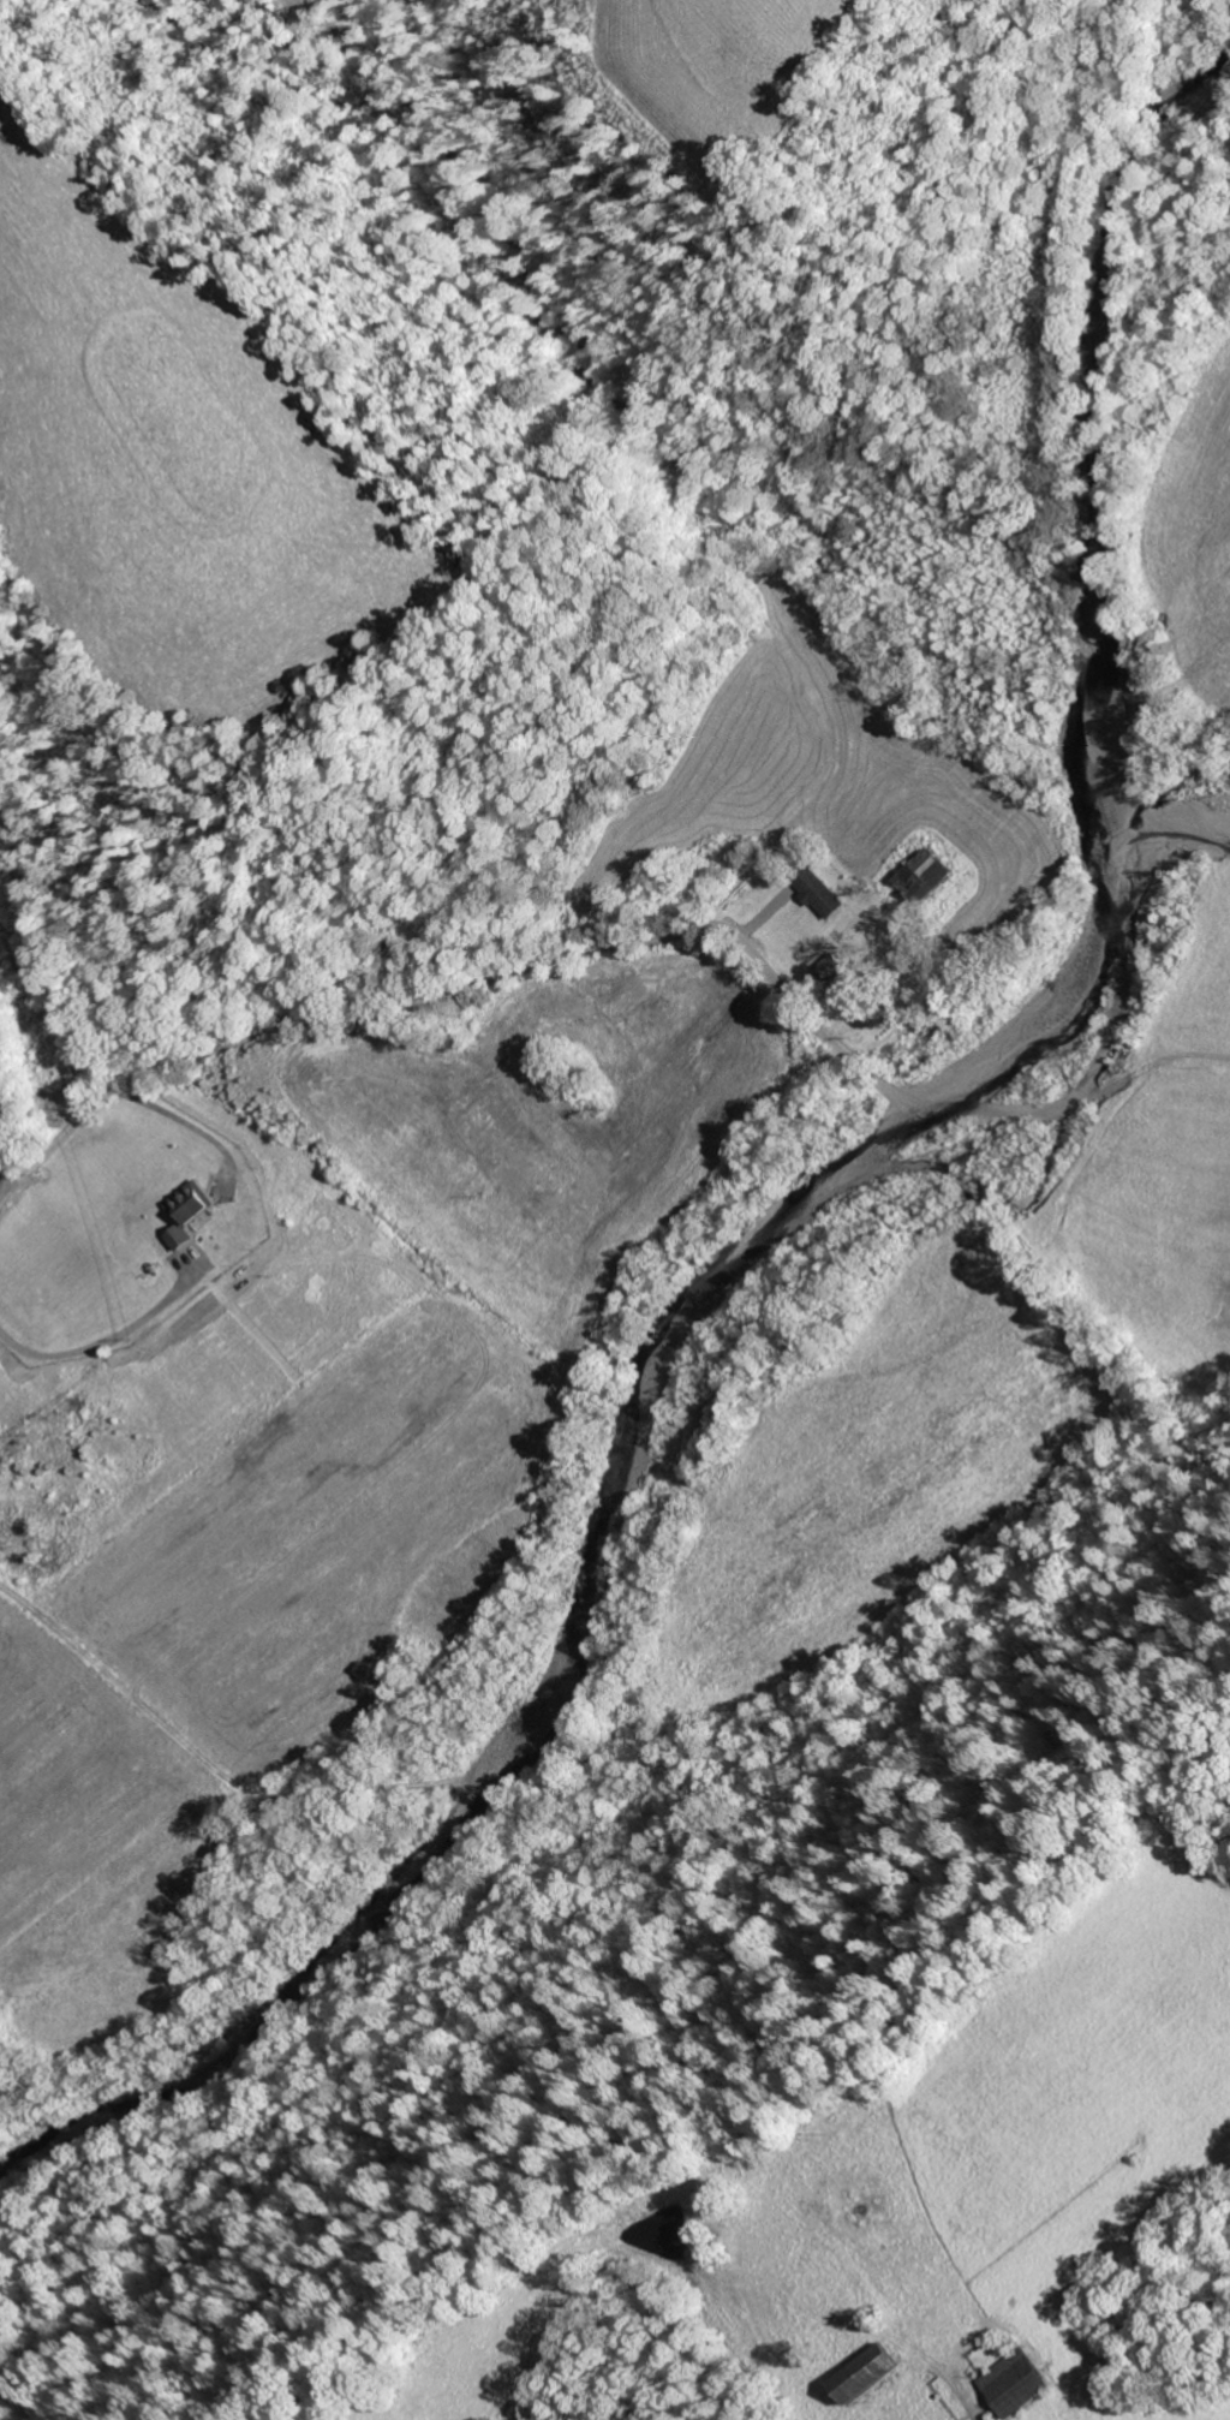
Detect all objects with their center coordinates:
road: (745, 429)
building: (922, 876)
building: (818, 894)
road: (448, 928)
building: (830, 968)
road: (357, 1018)
road: (12, 1119)
building: (187, 1214)
building: (862, 2373)
building: (1015, 2383)
road: (943, 2396)

